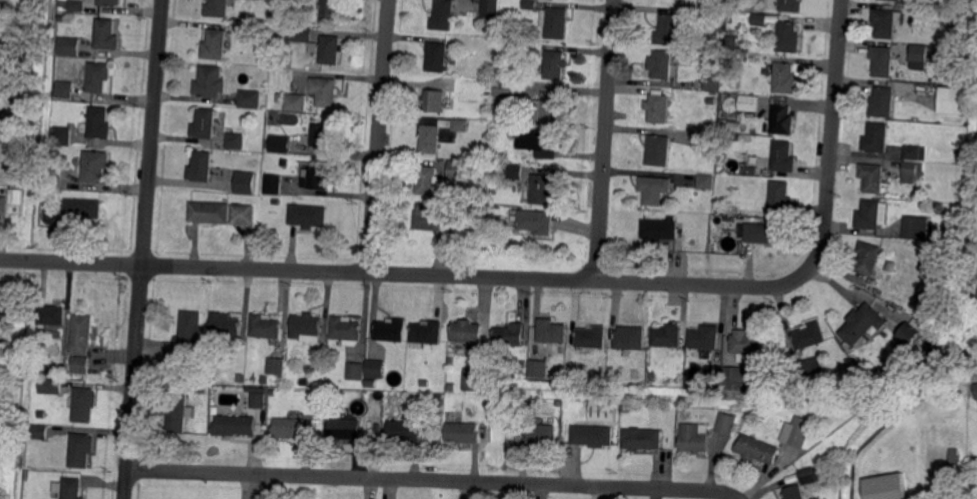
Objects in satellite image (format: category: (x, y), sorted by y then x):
building: (0, 0)
building: (288, 0)
building: (892, 0)
building: (908, 1)
building: (110, 2)
building: (61, 4)
building: (531, 4)
building: (32, 5)
building: (66, 5)
building: (77, 5)
building: (790, 6)
building: (218, 8)
building: (490, 8)
building: (331, 9)
building: (927, 13)
building: (444, 15)
building: (61, 17)
building: (760, 19)
building: (886, 21)
building: (557, 22)
building: (1, 24)
building: (668, 30)
building: (279, 32)
building: (300, 33)
building: (106, 35)
building: (788, 38)
building: (730, 44)
building: (216, 45)
building: (69, 47)
building: (314, 47)
building: (330, 50)
building: (708, 53)
building: (438, 56)
building: (918, 56)
building: (883, 61)
building: (726, 63)
building: (557, 64)
building: (17, 66)
building: (662, 66)
building: (98, 77)
building: (785, 78)
building: (711, 79)
building: (211, 81)
building: (67, 89)
building: (506, 89)
building: (325, 91)
building: (251, 98)
building: (280, 98)
building: (435, 100)
building: (953, 101)
building: (297, 102)
building: (710, 102)
building: (884, 102)
building: (749, 103)
building: (552, 106)
building: (659, 108)
building: (497, 116)
building: (781, 120)
building: (99, 124)
building: (206, 124)
building: (720, 127)
road: (606, 130)
building: (752, 131)
road: (832, 131)
building: (439, 134)
building: (62, 136)
building: (323, 136)
road: (380, 137)
building: (877, 137)
building: (236, 140)
building: (708, 140)
building: (279, 142)
building: (539, 142)
building: (53, 150)
building: (659, 150)
building: (916, 152)
building: (784, 157)
building: (96, 166)
building: (202, 167)
building: (457, 170)
building: (913, 171)
building: (54, 172)
building: (514, 172)
building: (727, 177)
building: (874, 177)
building: (316, 179)
building: (428, 181)
building: (706, 181)
building: (18, 182)
building: (245, 183)
building: (274, 184)
building: (655, 189)
building: (542, 190)
building: (15, 193)
building: (47, 196)
building: (780, 201)
building: (276, 202)
building: (936, 205)
building: (4, 206)
building: (83, 210)
building: (726, 210)
building: (211, 212)
building: (244, 214)
building: (872, 215)
building: (309, 216)
building: (432, 218)
building: (536, 220)
building: (916, 228)
building: (659, 230)
building: (766, 233)
road: (144, 249)
building: (869, 257)
road: (91, 263)
building: (891, 266)
road: (596, 271)
road: (356, 273)
road: (563, 280)
road: (710, 285)
building: (5, 314)
building: (52, 316)
building: (864, 323)
building: (226, 326)
building: (306, 326)
building: (266, 327)
building: (8, 328)
building: (393, 329)
building: (192, 330)
building: (348, 330)
building: (552, 330)
building: (470, 332)
building: (428, 333)
building: (83, 334)
building: (511, 334)
building: (910, 334)
building: (667, 335)
building: (809, 336)
building: (704, 337)
building: (591, 338)
building: (631, 338)
building: (747, 343)
building: (932, 349)
building: (560, 350)
building: (451, 360)
building: (81, 365)
building: (523, 365)
building: (277, 366)
building: (808, 367)
building: (377, 368)
building: (537, 369)
building: (43, 371)
building: (358, 371)
building: (633, 374)
building: (714, 374)
building: (70, 377)
building: (652, 377)
building: (737, 378)
building: (192, 379)
building: (240, 379)
building: (264, 379)
building: (475, 381)
building: (372, 383)
building: (425, 383)
building: (976, 384)
building: (52, 386)
building: (450, 388)
building: (202, 391)
building: (439, 397)
building: (259, 400)
building: (86, 404)
building: (626, 409)
building: (178, 412)
building: (604, 412)
building: (524, 416)
building: (728, 423)
building: (235, 426)
building: (289, 428)
building: (347, 430)
building: (406, 431)
building: (41, 432)
building: (798, 432)
building: (463, 433)
building: (543, 434)
building: (591, 436)
building: (694, 438)
building: (643, 439)
building: (82, 449)
building: (759, 449)
building: (955, 456)
building: (811, 476)
road: (434, 480)
building: (886, 487)
building: (69, 488)
building: (794, 493)

